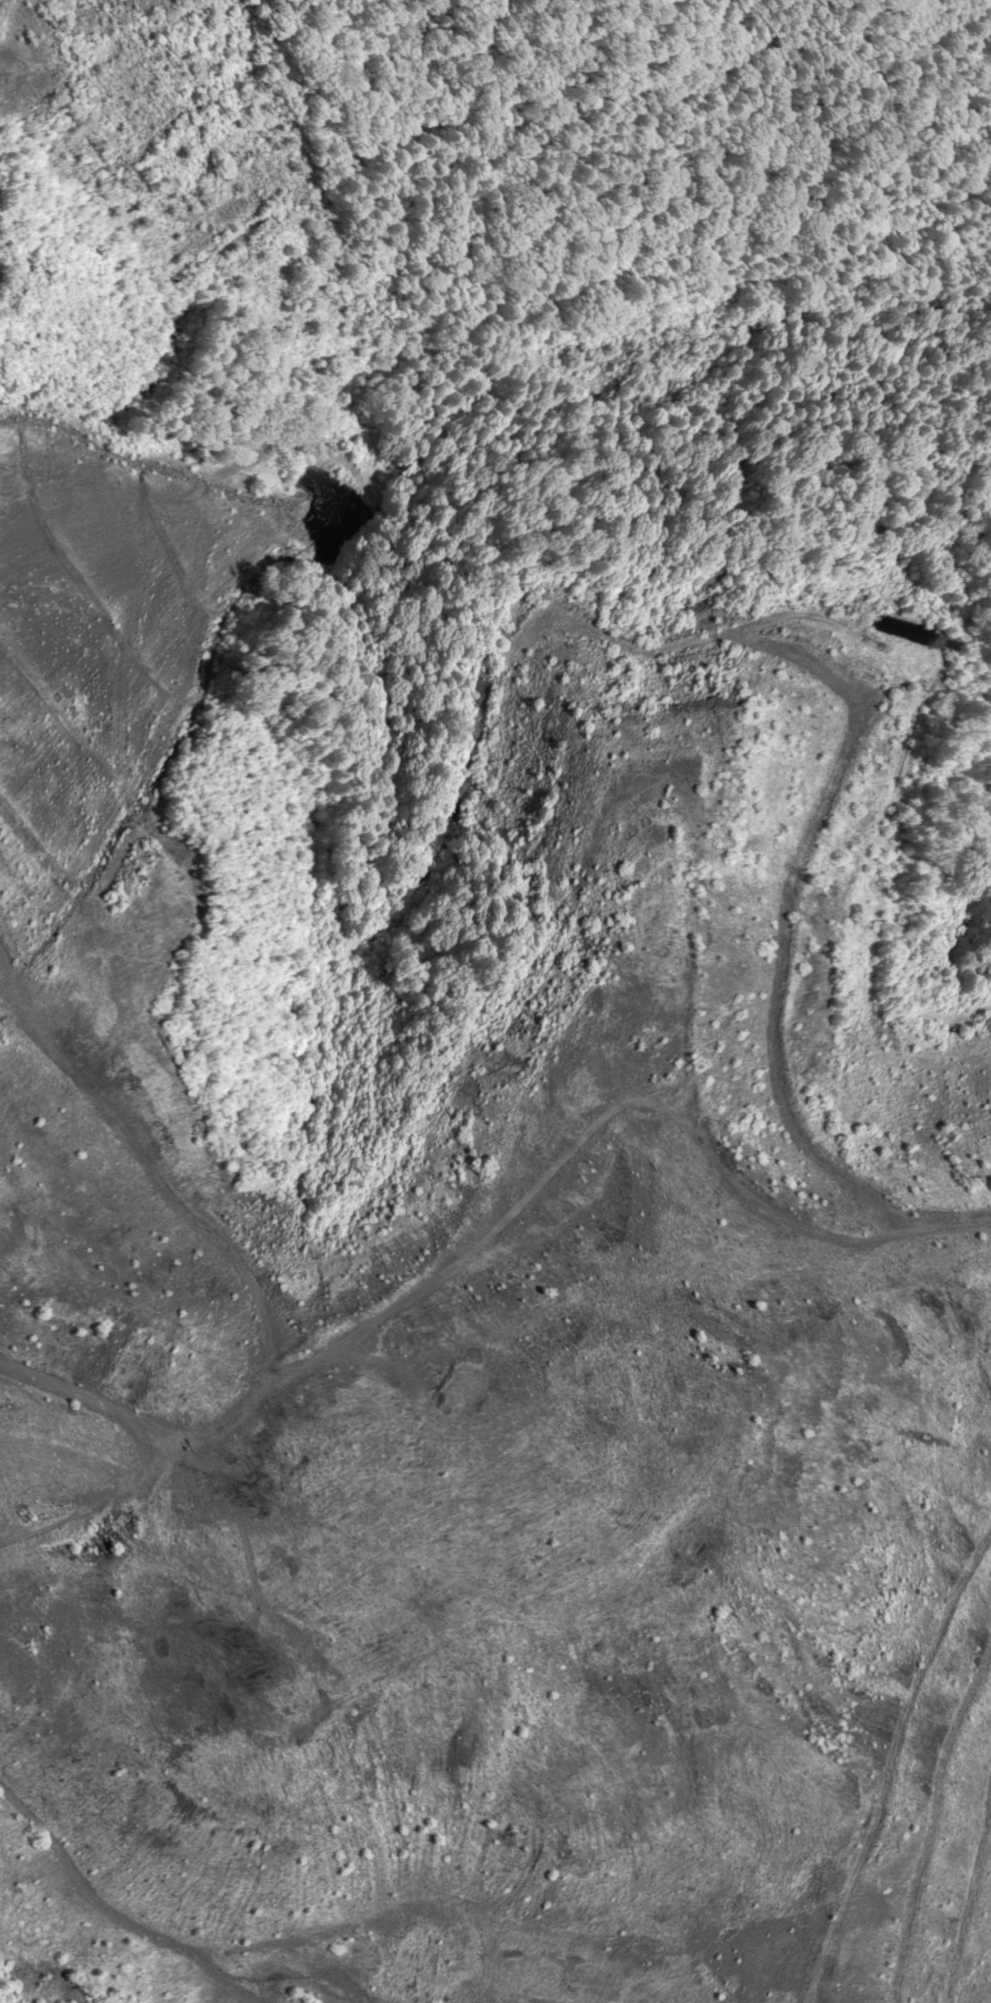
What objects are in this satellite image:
quarry: (3, 110)
quarry: (481, 1253)

